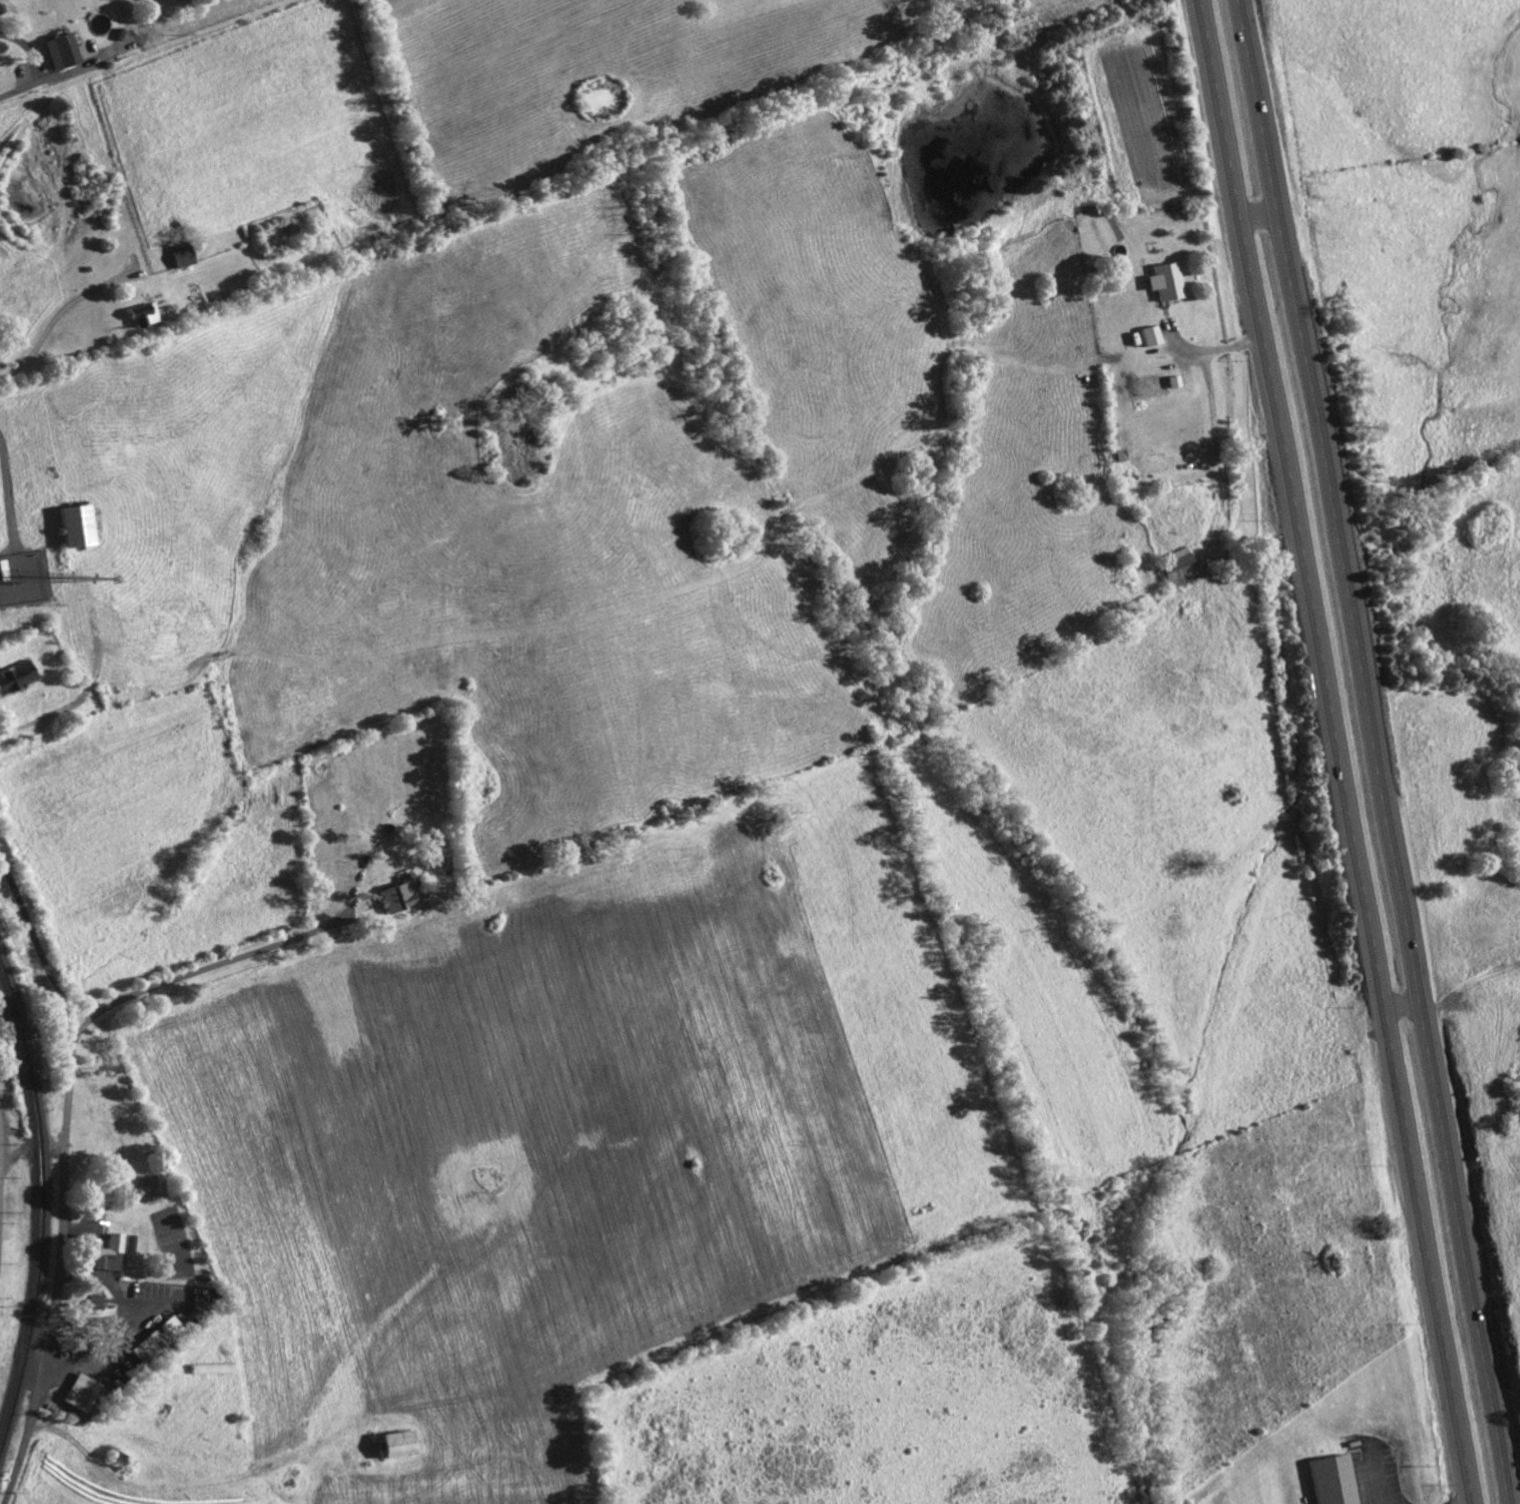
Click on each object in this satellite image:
building: (2, 11)
building: (61, 53)
building: (182, 256)
building: (1167, 283)
building: (144, 316)
building: (1152, 337)
road: (1179, 340)
road: (51, 351)
road: (1212, 415)
building: (76, 528)
building: (1181, 568)
road: (119, 676)
building: (15, 677)
road: (1339, 751)
road: (1378, 751)
building: (400, 897)
road: (184, 975)
road: (65, 1174)
building: (144, 1192)
railway: (39, 1207)
building: (110, 1253)
building: (96, 1302)
building: (157, 1339)
building: (82, 1393)
building: (399, 1445)
building: (1333, 1481)

